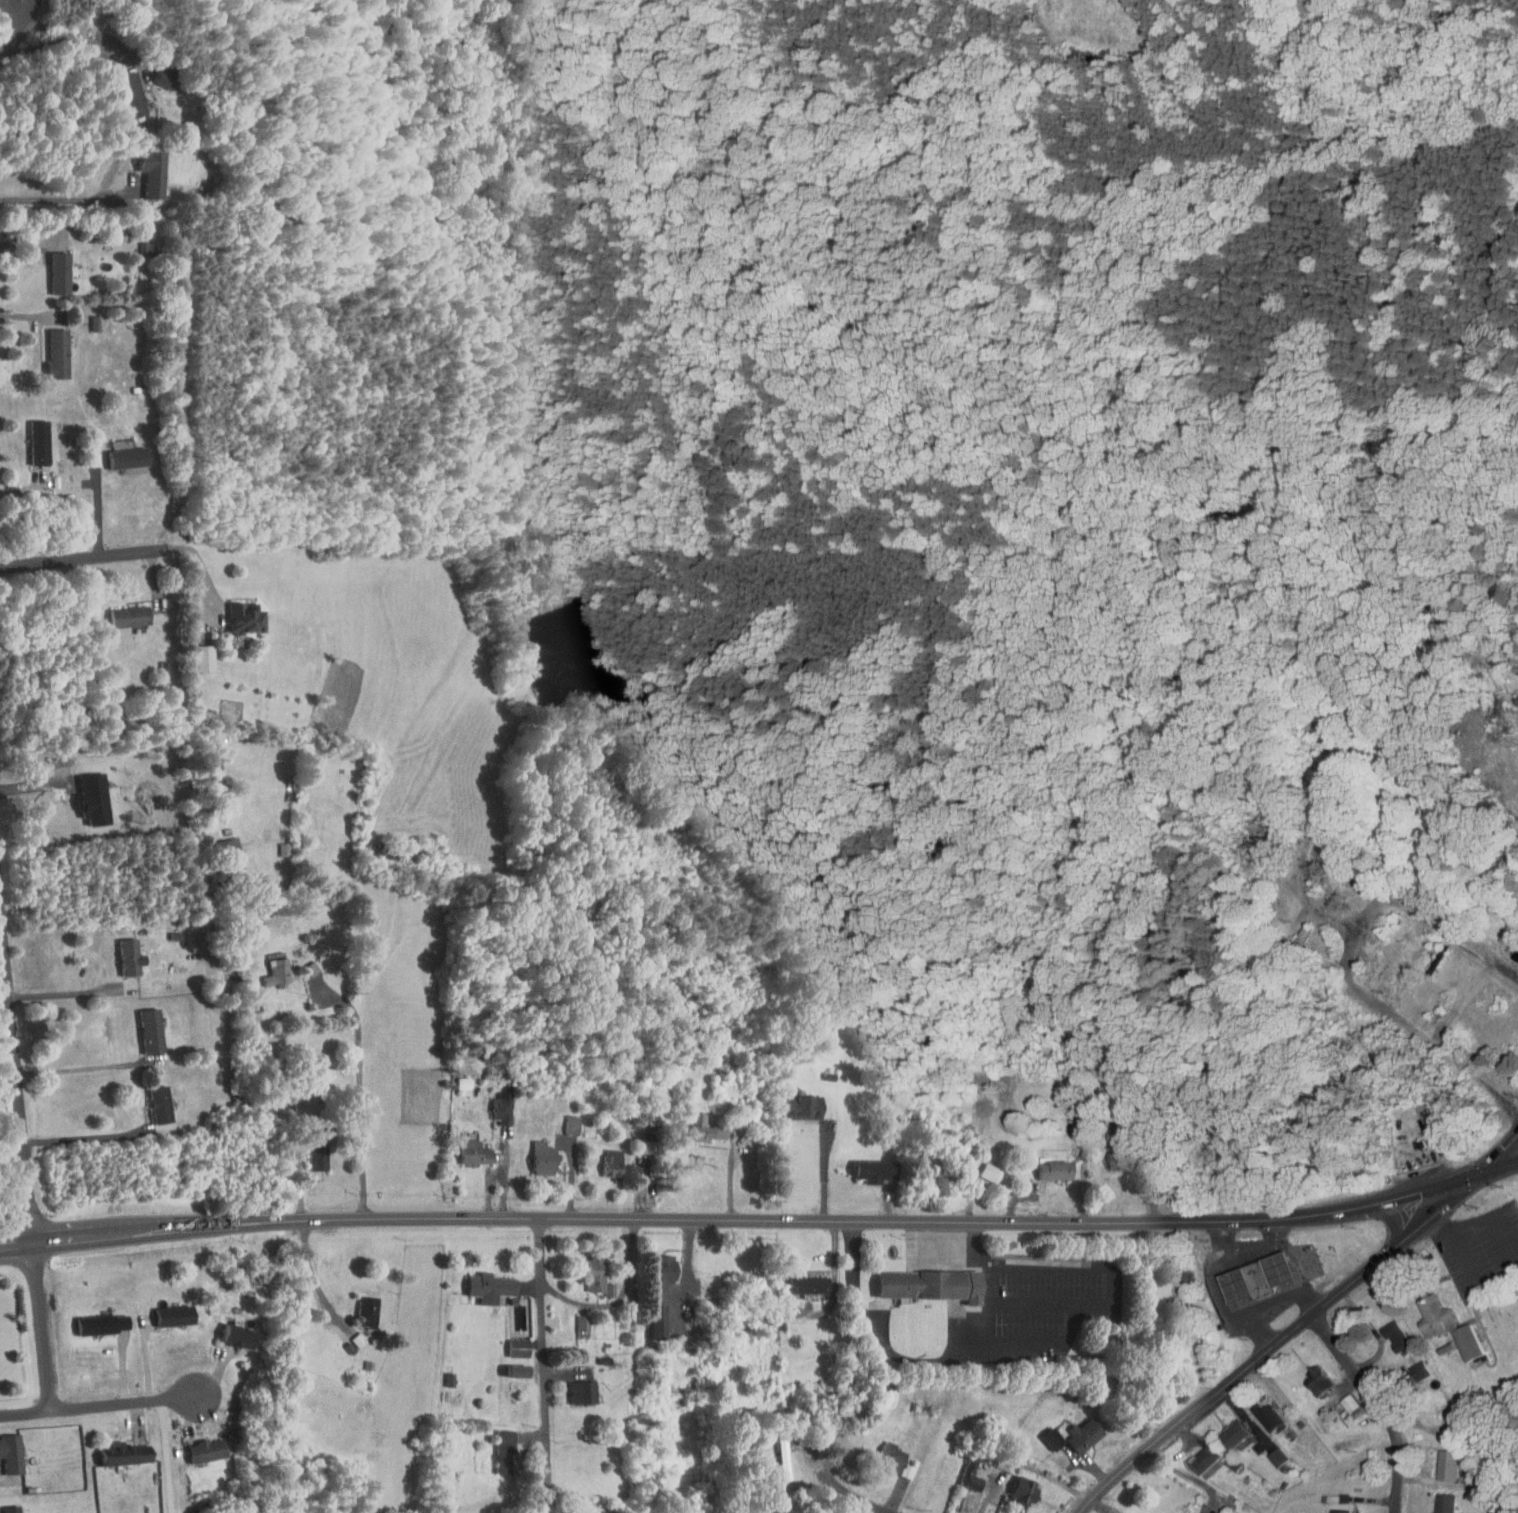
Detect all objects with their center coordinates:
road: (12, 22)
road: (60, 38)
building: (123, 88)
building: (144, 166)
road: (63, 198)
building: (139, 241)
road: (24, 242)
building: (51, 266)
road: (24, 309)
building: (49, 347)
building: (31, 436)
building: (120, 451)
road: (27, 490)
road: (88, 505)
road: (90, 560)
building: (121, 610)
building: (237, 611)
building: (196, 652)
building: (275, 843)
building: (222, 847)
road: (1305, 899)
building: (1375, 927)
building: (1506, 939)
building: (122, 952)
road: (1346, 961)
building: (302, 962)
building: (268, 966)
road: (66, 993)
building: (143, 1025)
road: (81, 1068)
road: (17, 1076)
building: (455, 1080)
road: (362, 1092)
building: (152, 1098)
building: (793, 1101)
building: (494, 1102)
building: (564, 1119)
building: (698, 1123)
road: (89, 1136)
building: (467, 1146)
building: (310, 1150)
building: (535, 1152)
road: (1500, 1152)
building: (1112, 1155)
building: (604, 1157)
building: (1047, 1164)
building: (867, 1165)
building: (981, 1166)
road: (1500, 1166)
traffic signals: (1483, 1172)
road: (743, 1217)
road: (1494, 1226)
road: (1245, 1249)
road: (1460, 1250)
road: (1296, 1259)
building: (655, 1264)
building: (588, 1268)
building: (1251, 1272)
road: (314, 1274)
building: (800, 1279)
building: (482, 1281)
building: (601, 1283)
building: (924, 1284)
road: (1214, 1295)
building: (359, 1305)
road: (1272, 1308)
building: (166, 1310)
building: (649, 1315)
building: (94, 1318)
building: (574, 1320)
road: (43, 1326)
building: (1457, 1328)
building: (230, 1330)
building: (1387, 1332)
building: (349, 1334)
road: (1279, 1339)
building: (510, 1342)
road: (1049, 1342)
building: (509, 1365)
building: (1411, 1365)
road: (547, 1367)
building: (1310, 1376)
building: (574, 1387)
building: (1342, 1398)
road: (100, 1405)
road: (1377, 1405)
building: (1259, 1412)
building: (1226, 1428)
building: (1076, 1429)
building: (1045, 1433)
building: (198, 1445)
building: (495, 1446)
building: (116, 1448)
building: (6, 1449)
building: (886, 1452)
building: (775, 1453)
building: (1196, 1453)
building: (1269, 1453)
road: (168, 1456)
building: (1439, 1460)
building: (899, 1465)
building: (962, 1470)
road: (1186, 1474)
building: (1016, 1486)
road: (855, 1496)
building: (960, 1498)
building: (1436, 1500)
building: (7, 1507)
building: (1331, 1509)
building: (1113, 1512)
building: (1222, 1512)

